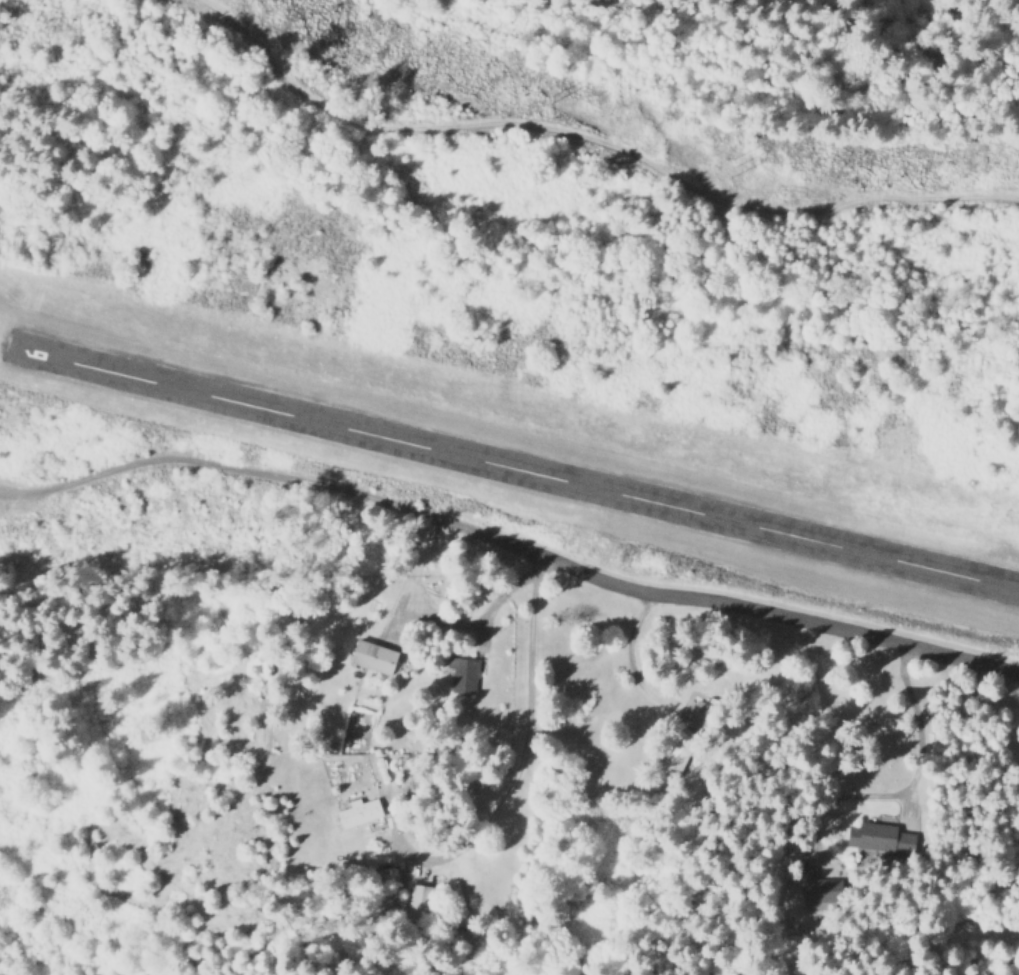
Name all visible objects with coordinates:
road: (594, 141)
airport: (522, 450)
airport runway: (514, 469)
road: (275, 476)
road: (781, 616)
building: (375, 656)
building: (464, 673)
road: (527, 700)
building: (359, 811)
building: (417, 900)

